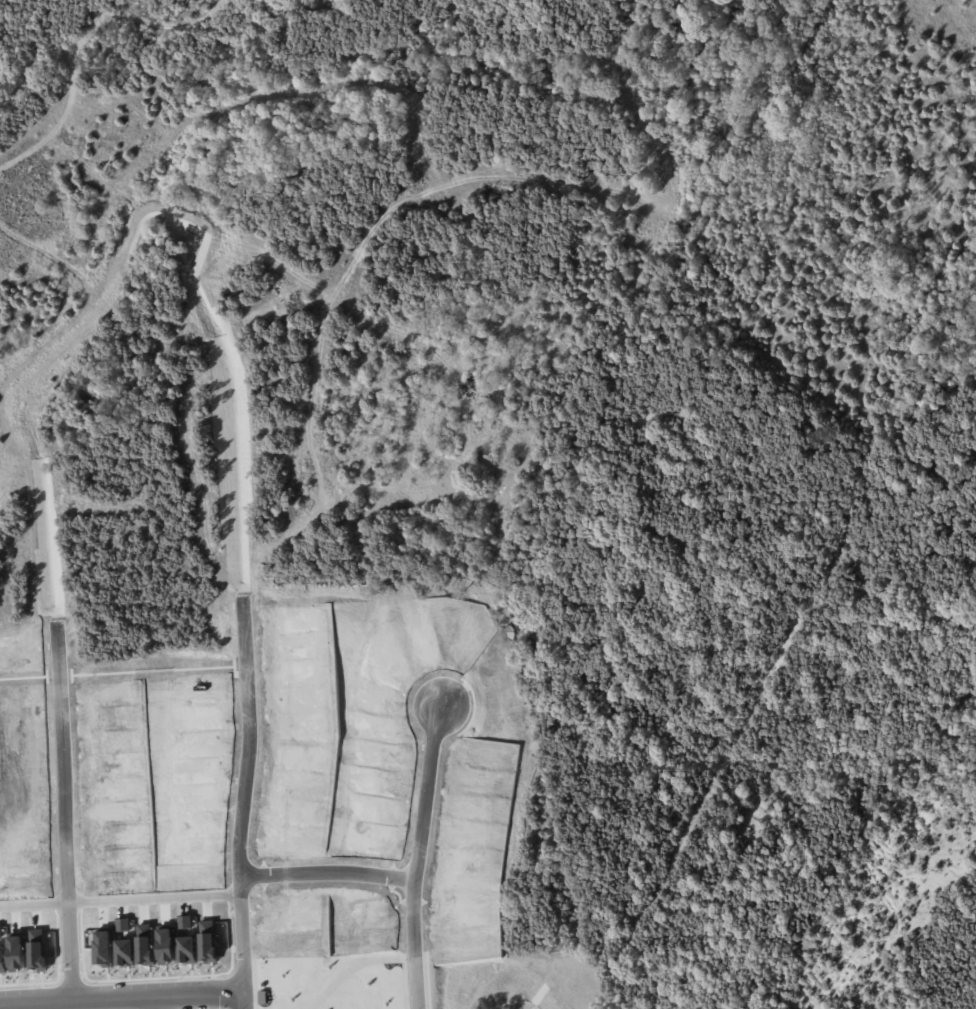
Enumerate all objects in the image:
park: (803, 533)
road: (246, 803)
road: (67, 806)
road: (423, 854)
road: (331, 869)
road: (121, 896)
building: (182, 922)
building: (120, 925)
building: (185, 950)
road: (125, 994)
road: (166, 1000)

